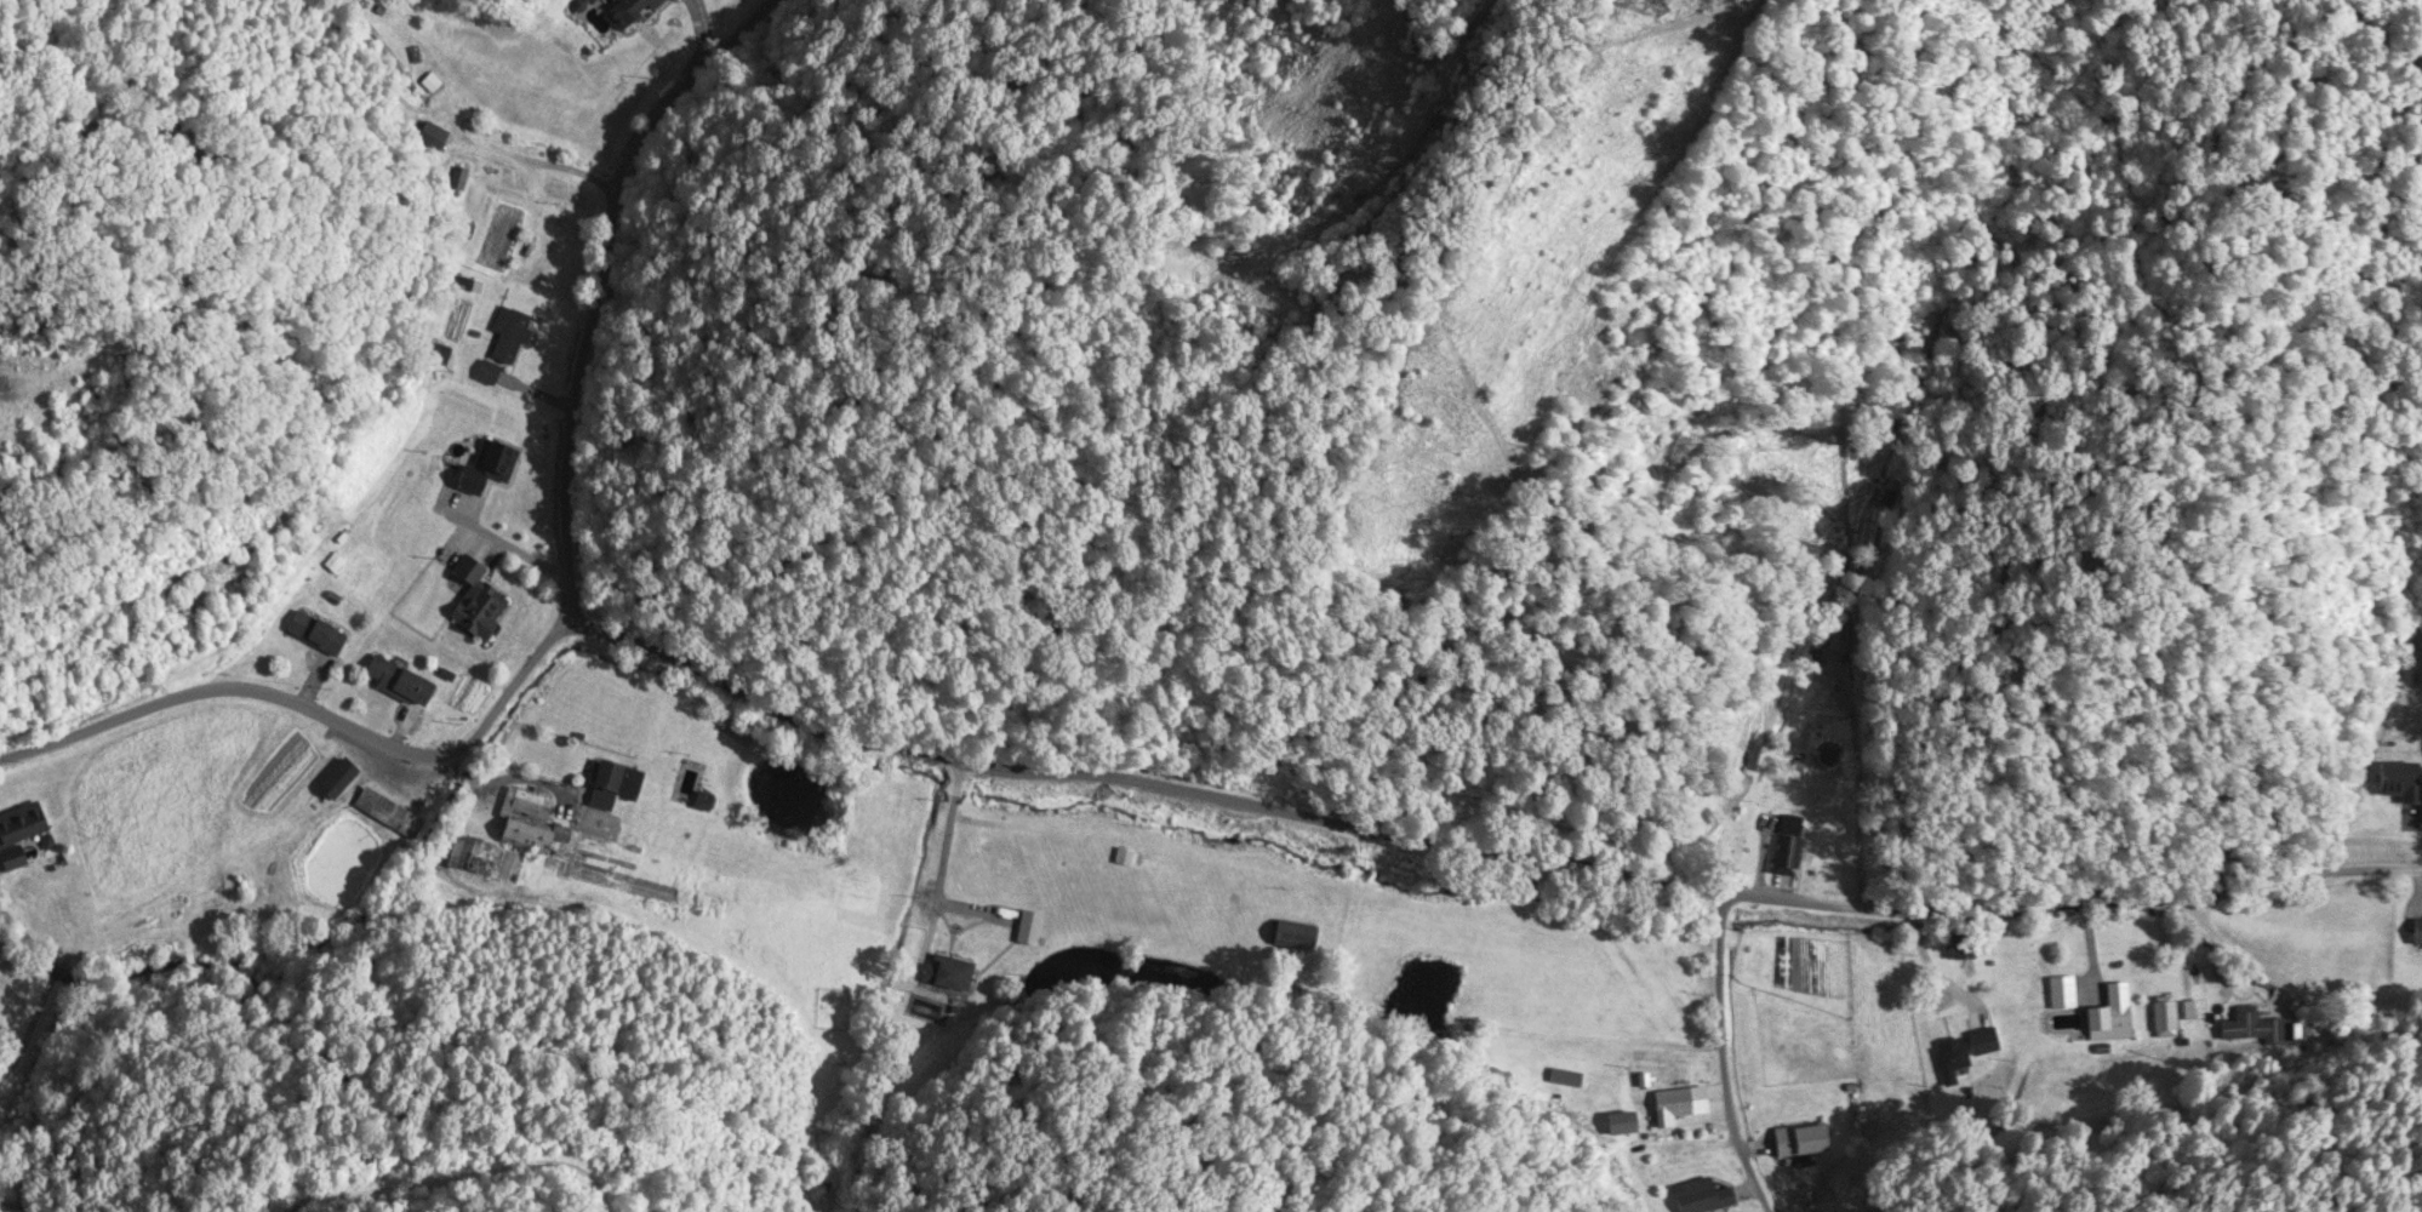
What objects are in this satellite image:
power tower: (1657, 5)
building: (632, 11)
road: (596, 279)
building: (512, 337)
building: (482, 465)
building: (478, 601)
building: (321, 636)
building: (398, 682)
road: (312, 716)
building: (338, 781)
building: (607, 799)
building: (704, 802)
building: (388, 814)
building: (529, 821)
building: (19, 831)
building: (1787, 847)
road: (1474, 856)
building: (1124, 857)
building: (1030, 927)
building: (2418, 928)
road: (2226, 943)
building: (946, 972)
building: (2062, 991)
building: (2110, 1014)
building: (2165, 1018)
building: (1964, 1051)
road: (1706, 1054)
building: (1672, 1107)
building: (1801, 1140)

